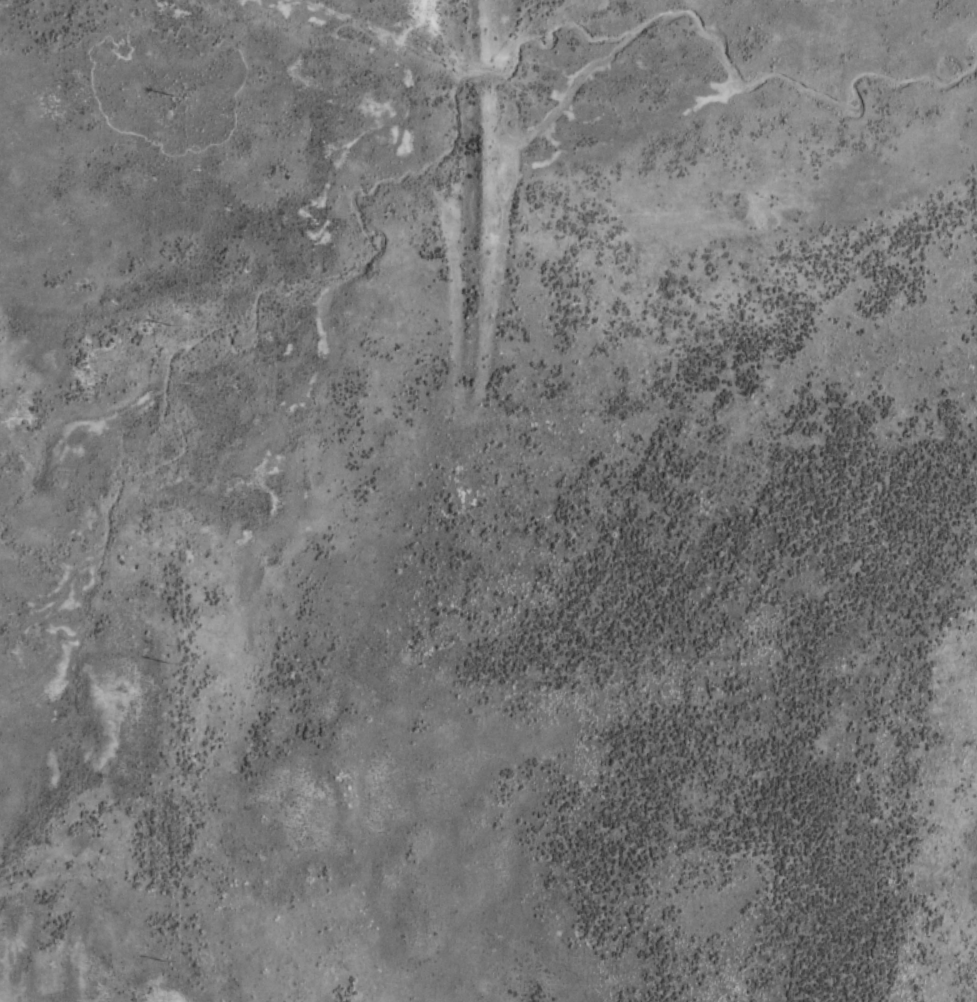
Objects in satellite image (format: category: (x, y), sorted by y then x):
crop: (488, 501)

